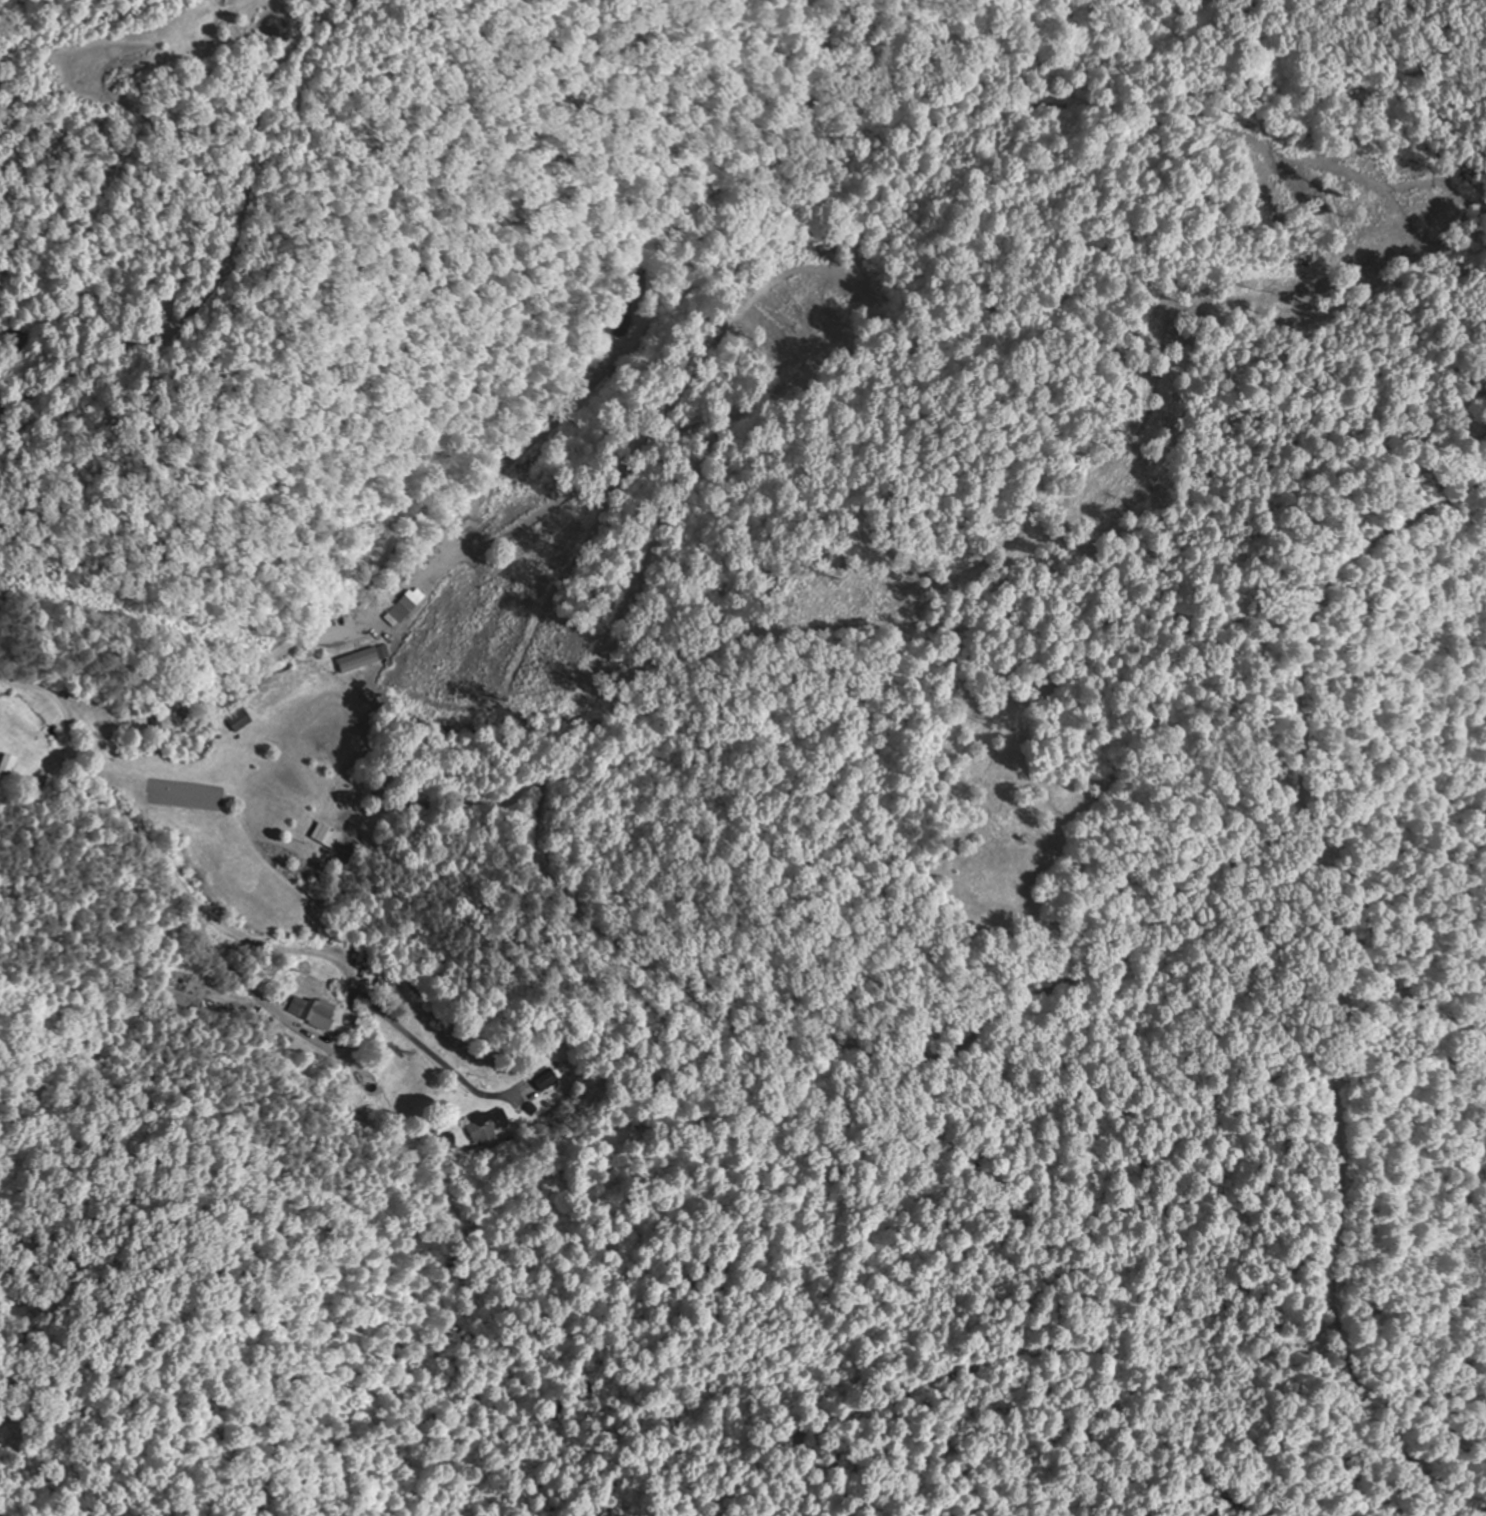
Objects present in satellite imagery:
building: (384, 625)
building: (324, 834)
road: (216, 920)
building: (544, 1079)

